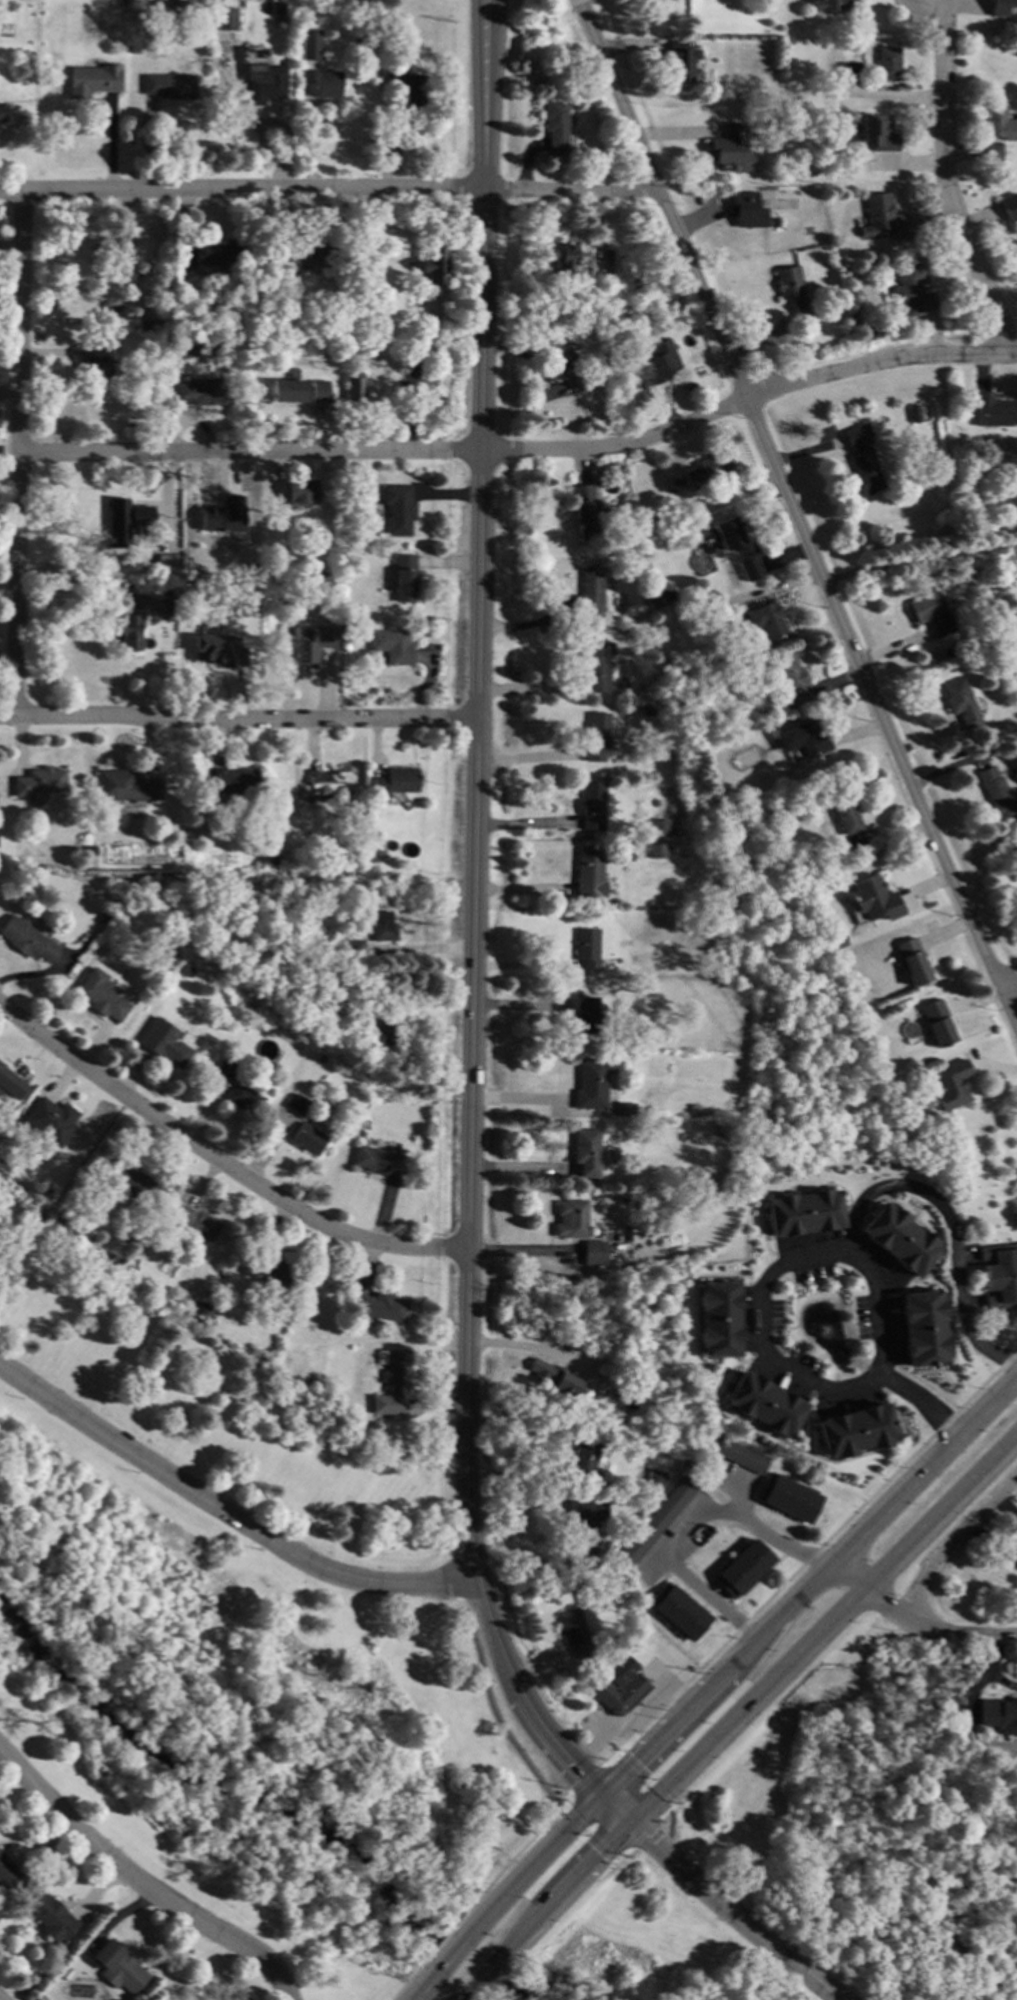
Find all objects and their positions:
building: (176, 2)
building: (121, 3)
building: (829, 5)
building: (1000, 7)
building: (277, 8)
building: (227, 18)
building: (223, 38)
building: (361, 41)
building: (309, 44)
building: (681, 61)
building: (887, 62)
road: (478, 66)
road: (489, 66)
building: (850, 71)
building: (92, 80)
building: (326, 84)
building: (267, 85)
building: (170, 86)
building: (407, 86)
building: (2, 111)
building: (999, 122)
building: (392, 124)
building: (555, 124)
building: (877, 132)
building: (729, 149)
building: (992, 151)
building: (836, 162)
building: (797, 169)
road: (949, 180)
road: (327, 188)
building: (1009, 206)
building: (746, 209)
building: (882, 218)
building: (776, 222)
building: (307, 253)
building: (217, 254)
building: (263, 260)
building: (570, 260)
building: (123, 264)
building: (432, 267)
building: (792, 289)
building: (912, 289)
building: (162, 306)
building: (185, 314)
building: (863, 321)
building: (144, 325)
building: (570, 330)
building: (841, 330)
building: (185, 344)
building: (558, 352)
building: (332, 355)
building: (94, 360)
building: (660, 361)
building: (575, 381)
building: (354, 385)
building: (203, 390)
building: (299, 390)
building: (994, 412)
building: (915, 413)
road: (524, 449)
road: (18, 452)
building: (862, 459)
building: (599, 464)
building: (707, 470)
building: (301, 492)
building: (128, 506)
building: (1010, 507)
building: (398, 509)
building: (358, 510)
building: (587, 510)
road: (797, 510)
building: (223, 516)
building: (255, 524)
building: (727, 531)
building: (349, 551)
road: (922, 562)
building: (168, 565)
building: (749, 566)
building: (144, 569)
building: (403, 578)
road: (85, 591)
building: (590, 591)
building: (667, 593)
building: (653, 598)
building: (704, 603)
building: (170, 608)
building: (196, 612)
building: (931, 612)
building: (765, 619)
building: (328, 624)
building: (622, 627)
building: (130, 633)
building: (304, 646)
building: (392, 646)
building: (219, 651)
building: (597, 665)
building: (790, 679)
building: (962, 704)
building: (645, 710)
road: (236, 716)
building: (597, 735)
building: (803, 738)
road: (524, 760)
building: (235, 780)
building: (39, 781)
building: (327, 783)
building: (394, 783)
building: (126, 786)
building: (995, 791)
building: (592, 805)
building: (849, 823)
building: (659, 827)
building: (71, 848)
building: (1016, 849)
building: (89, 850)
building: (657, 850)
building: (302, 855)
building: (379, 855)
building: (273, 860)
road: (470, 860)
building: (817, 863)
building: (589, 872)
building: (874, 898)
building: (381, 926)
building: (28, 940)
building: (838, 940)
building: (586, 946)
building: (354, 948)
building: (174, 958)
building: (911, 960)
road: (1011, 986)
building: (102, 995)
building: (252, 1012)
building: (357, 1013)
building: (585, 1014)
building: (936, 1021)
building: (379, 1033)
building: (168, 1048)
building: (227, 1068)
building: (592, 1081)
building: (11, 1082)
building: (950, 1084)
building: (896, 1085)
building: (244, 1098)
road: (537, 1102)
building: (298, 1104)
building: (693, 1107)
building: (625, 1108)
building: (54, 1120)
building: (308, 1138)
building: (586, 1150)
road: (218, 1157)
building: (379, 1161)
road: (518, 1170)
building: (658, 1184)
building: (125, 1185)
building: (45, 1187)
building: (624, 1196)
building: (807, 1210)
building: (62, 1214)
building: (571, 1218)
building: (198, 1223)
road: (951, 1229)
building: (902, 1236)
building: (99, 1248)
building: (594, 1252)
road: (516, 1253)
building: (129, 1260)
building: (273, 1272)
building: (853, 1274)
building: (999, 1274)
road: (877, 1287)
building: (186, 1297)
building: (203, 1307)
building: (381, 1307)
building: (719, 1320)
building: (927, 1327)
road: (525, 1349)
building: (554, 1377)
building: (313, 1383)
building: (394, 1383)
building: (611, 1391)
park: (208, 1403)
road: (920, 1403)
building: (322, 1406)
building: (765, 1406)
building: (855, 1431)
building: (739, 1454)
building: (587, 1459)
building: (698, 1462)
road: (516, 1477)
building: (655, 1478)
building: (788, 1498)
road: (223, 1514)
building: (657, 1520)
building: (587, 1522)
road: (682, 1525)
road: (517, 1536)
road: (953, 1539)
building: (1014, 1555)
building: (607, 1559)
road: (809, 1559)
building: (743, 1568)
building: (678, 1610)
road: (918, 1621)
building: (575, 1632)
road: (494, 1643)
road: (737, 1659)
road: (990, 1669)
building: (611, 1679)
road: (755, 1700)
road: (490, 1706)
road: (630, 1714)
building: (999, 1714)
park: (252, 1723)
road: (563, 1758)
road: (646, 1779)
road: (586, 1780)
river: (254, 1798)
road: (566, 1800)
road: (665, 1811)
road: (669, 1830)
road: (644, 1833)
road: (588, 1834)
road: (613, 1863)
road: (503, 1866)
building: (7, 1873)
park: (799, 1881)
road: (139, 1885)
road: (725, 1905)
building: (49, 1916)
road: (439, 1943)
road: (453, 1957)
building: (117, 1966)
road: (409, 1978)
road: (484, 1982)
road: (429, 1986)
road: (470, 1998)

